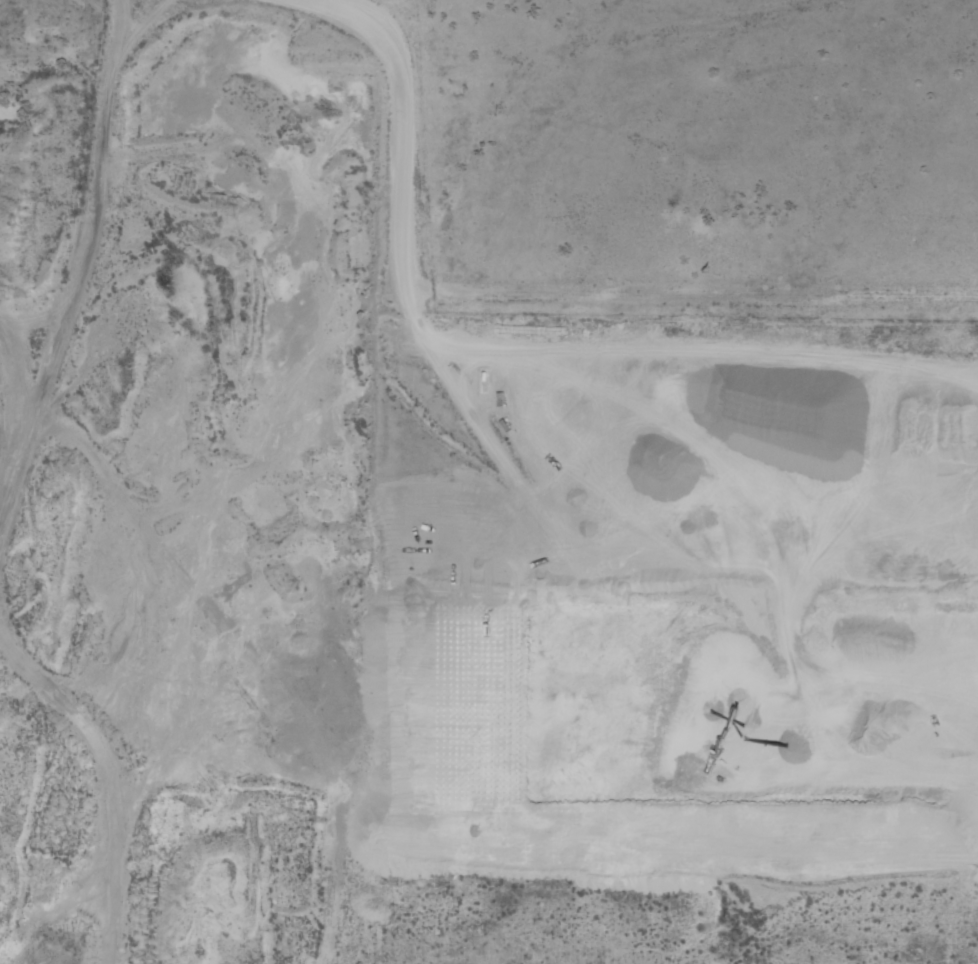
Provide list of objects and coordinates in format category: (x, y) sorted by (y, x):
road: (270, 17)
road: (20, 186)
road: (246, 493)

